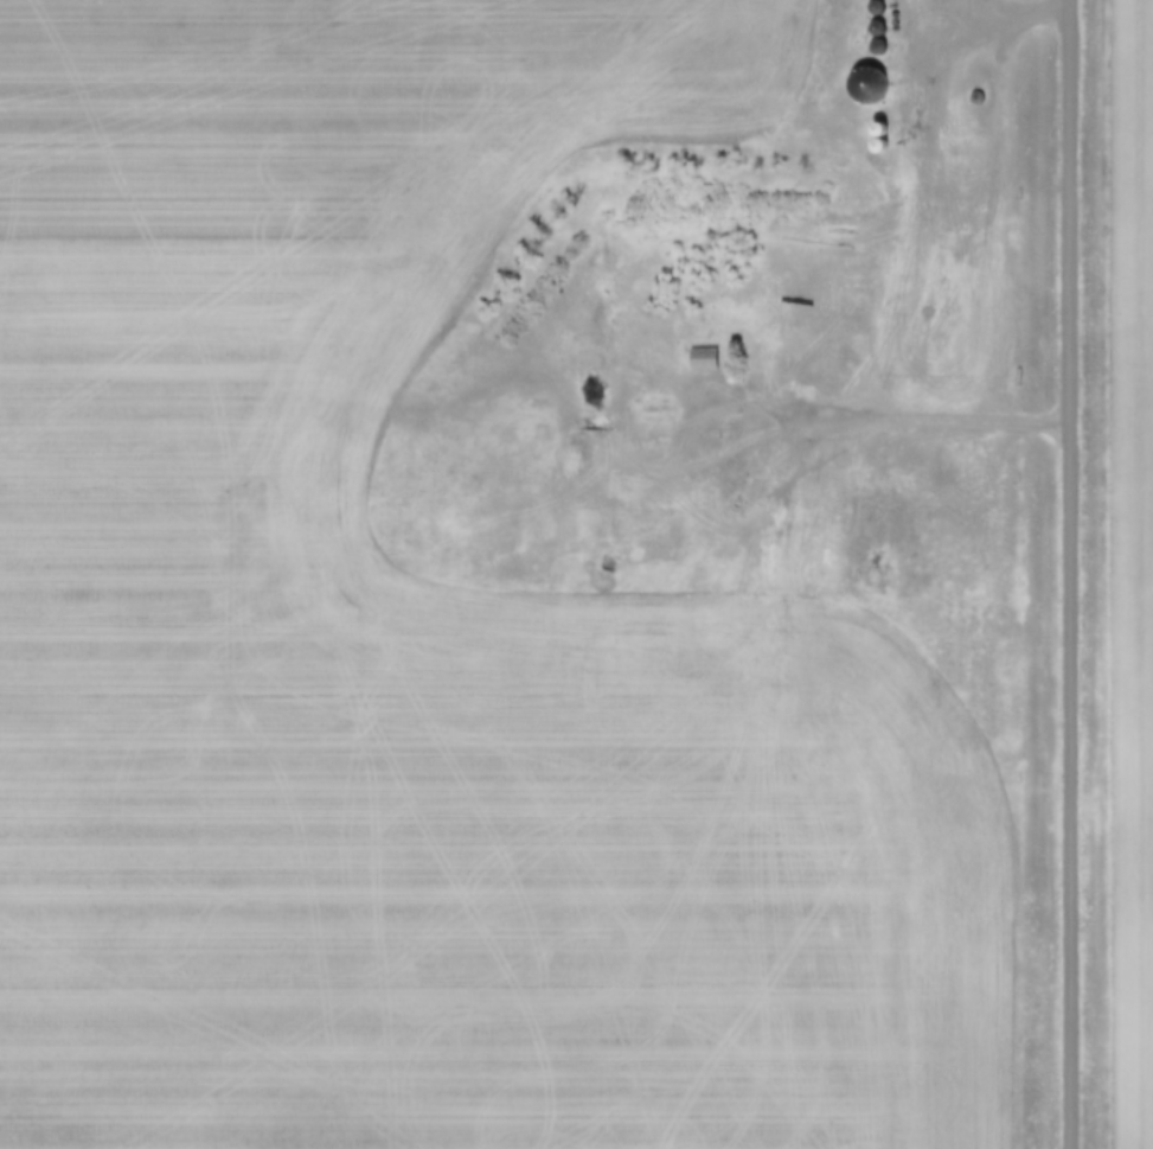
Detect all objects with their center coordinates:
building: (697, 360)
road: (940, 423)
road: (1075, 574)

